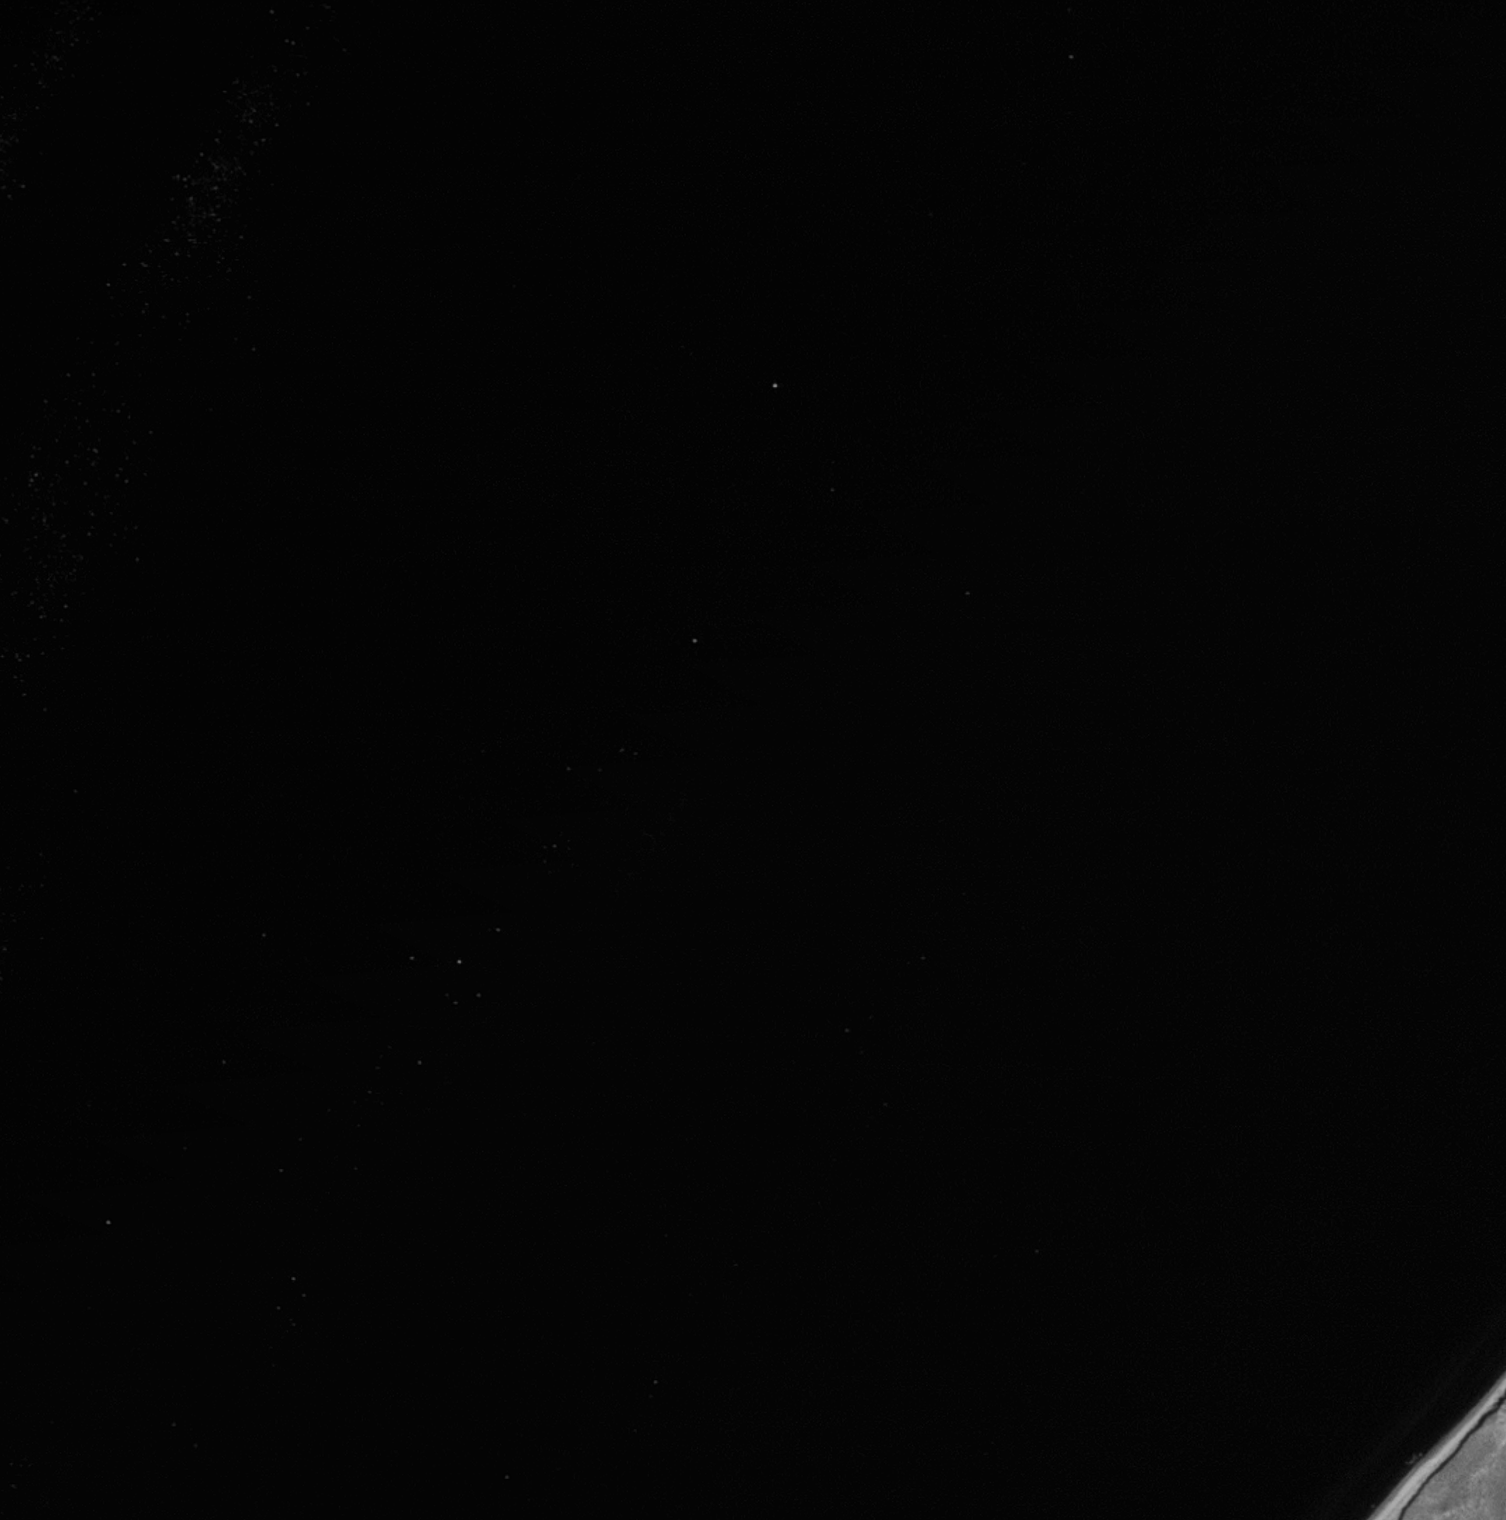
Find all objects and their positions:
park: (1412, 1406)

